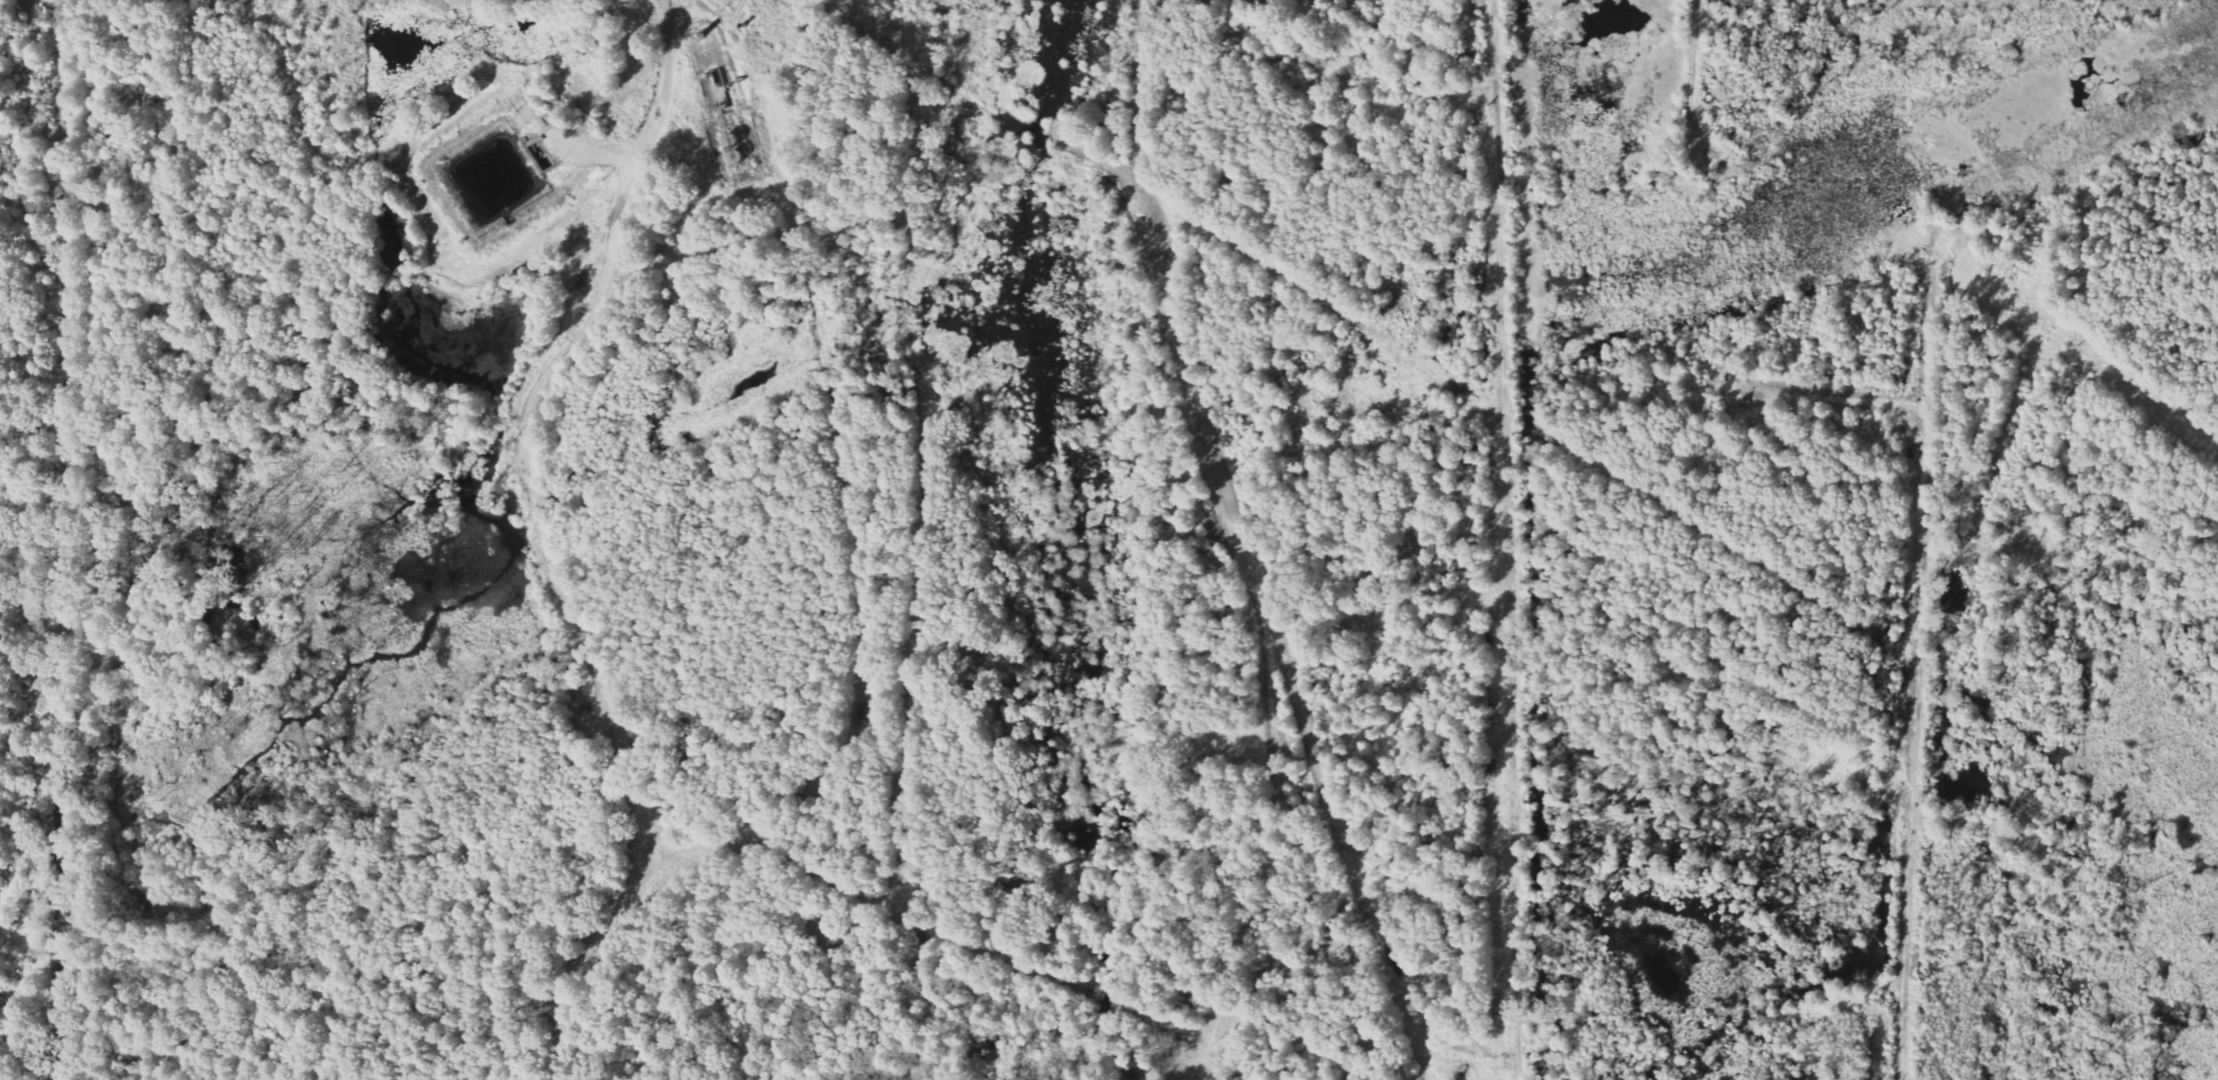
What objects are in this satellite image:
power tower: (1743, 114)
power tower: (2070, 349)

